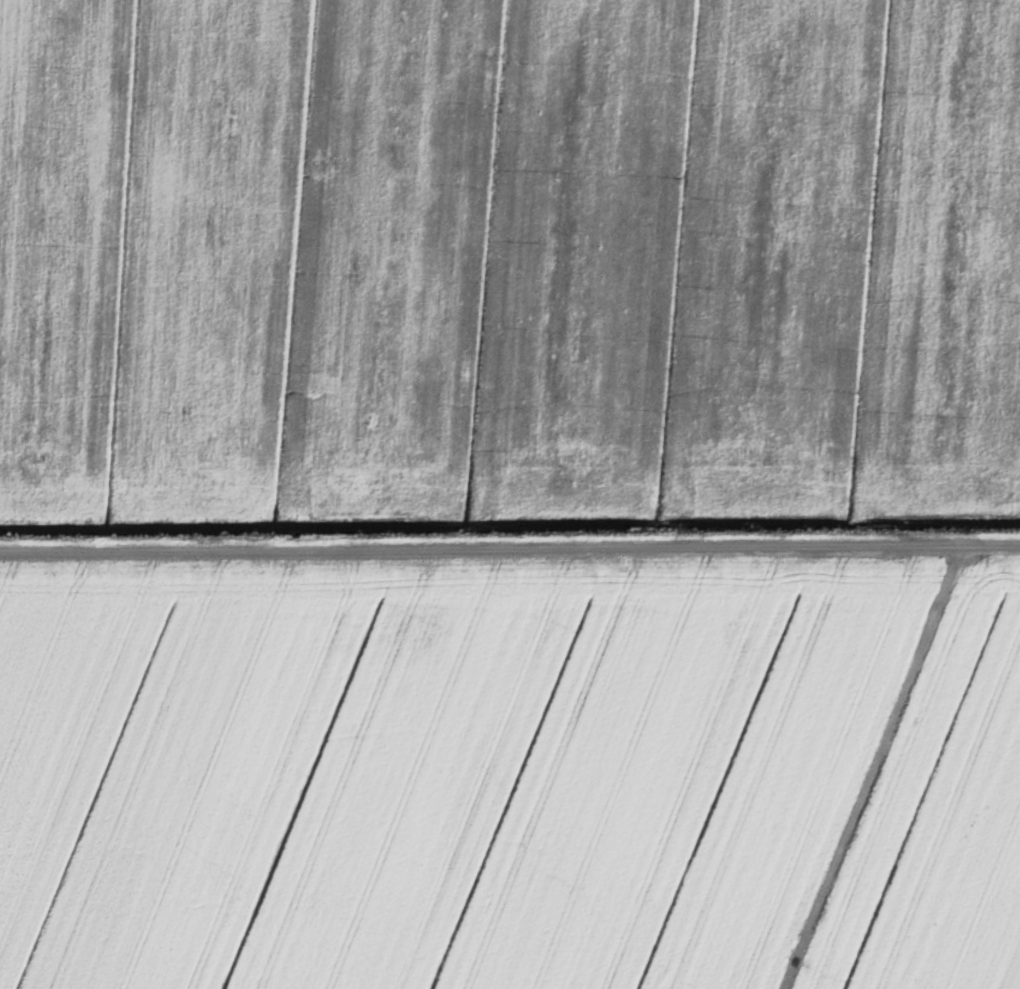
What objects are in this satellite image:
road: (510, 556)

